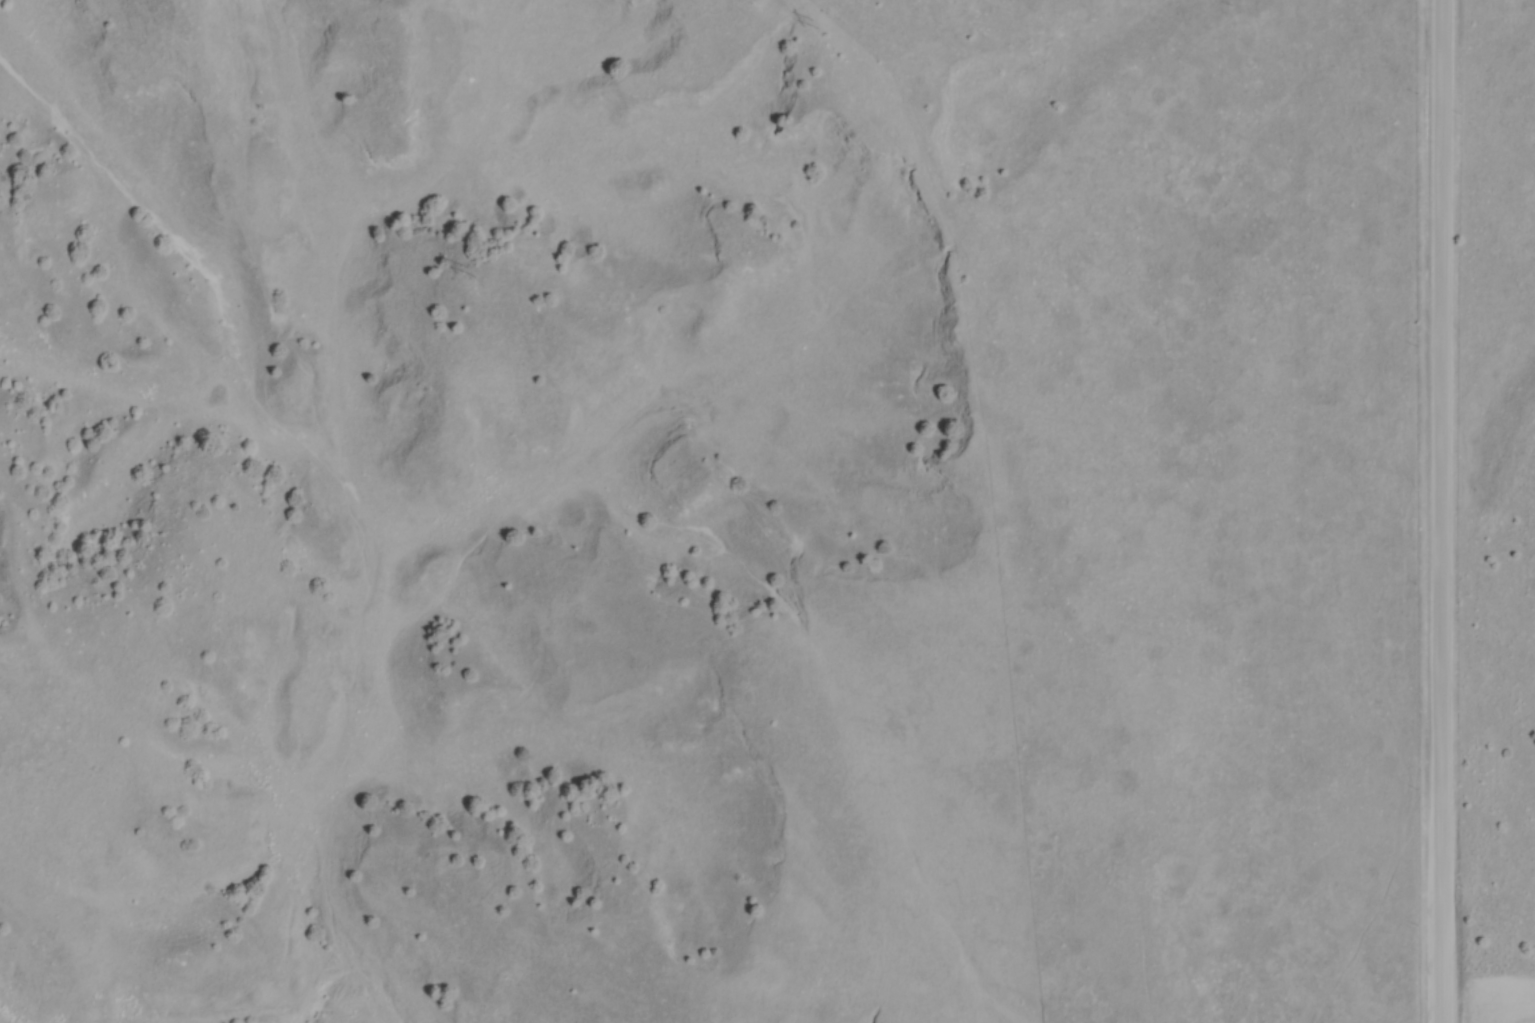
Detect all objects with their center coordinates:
power tower: (818, 28)
power tower: (477, 275)
road: (1443, 511)

